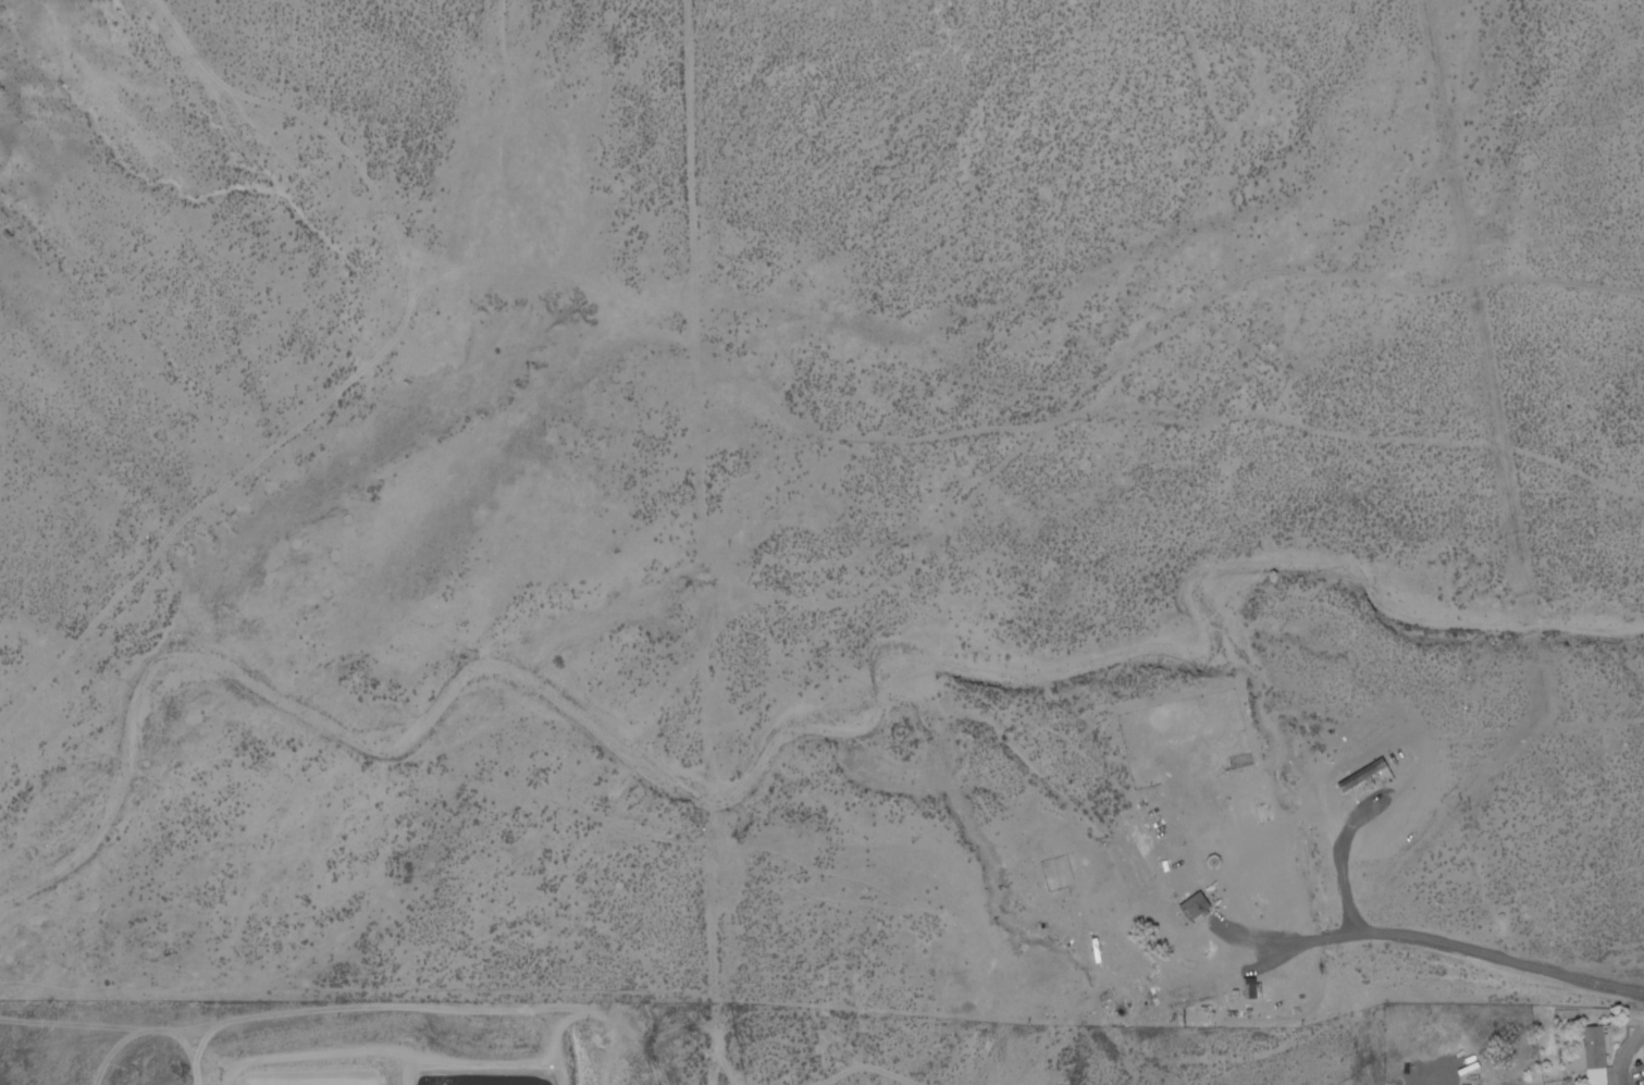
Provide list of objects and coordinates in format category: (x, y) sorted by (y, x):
building: (1369, 775)
building: (1197, 904)
road: (1336, 940)
road: (1516, 972)
building: (1597, 1052)

